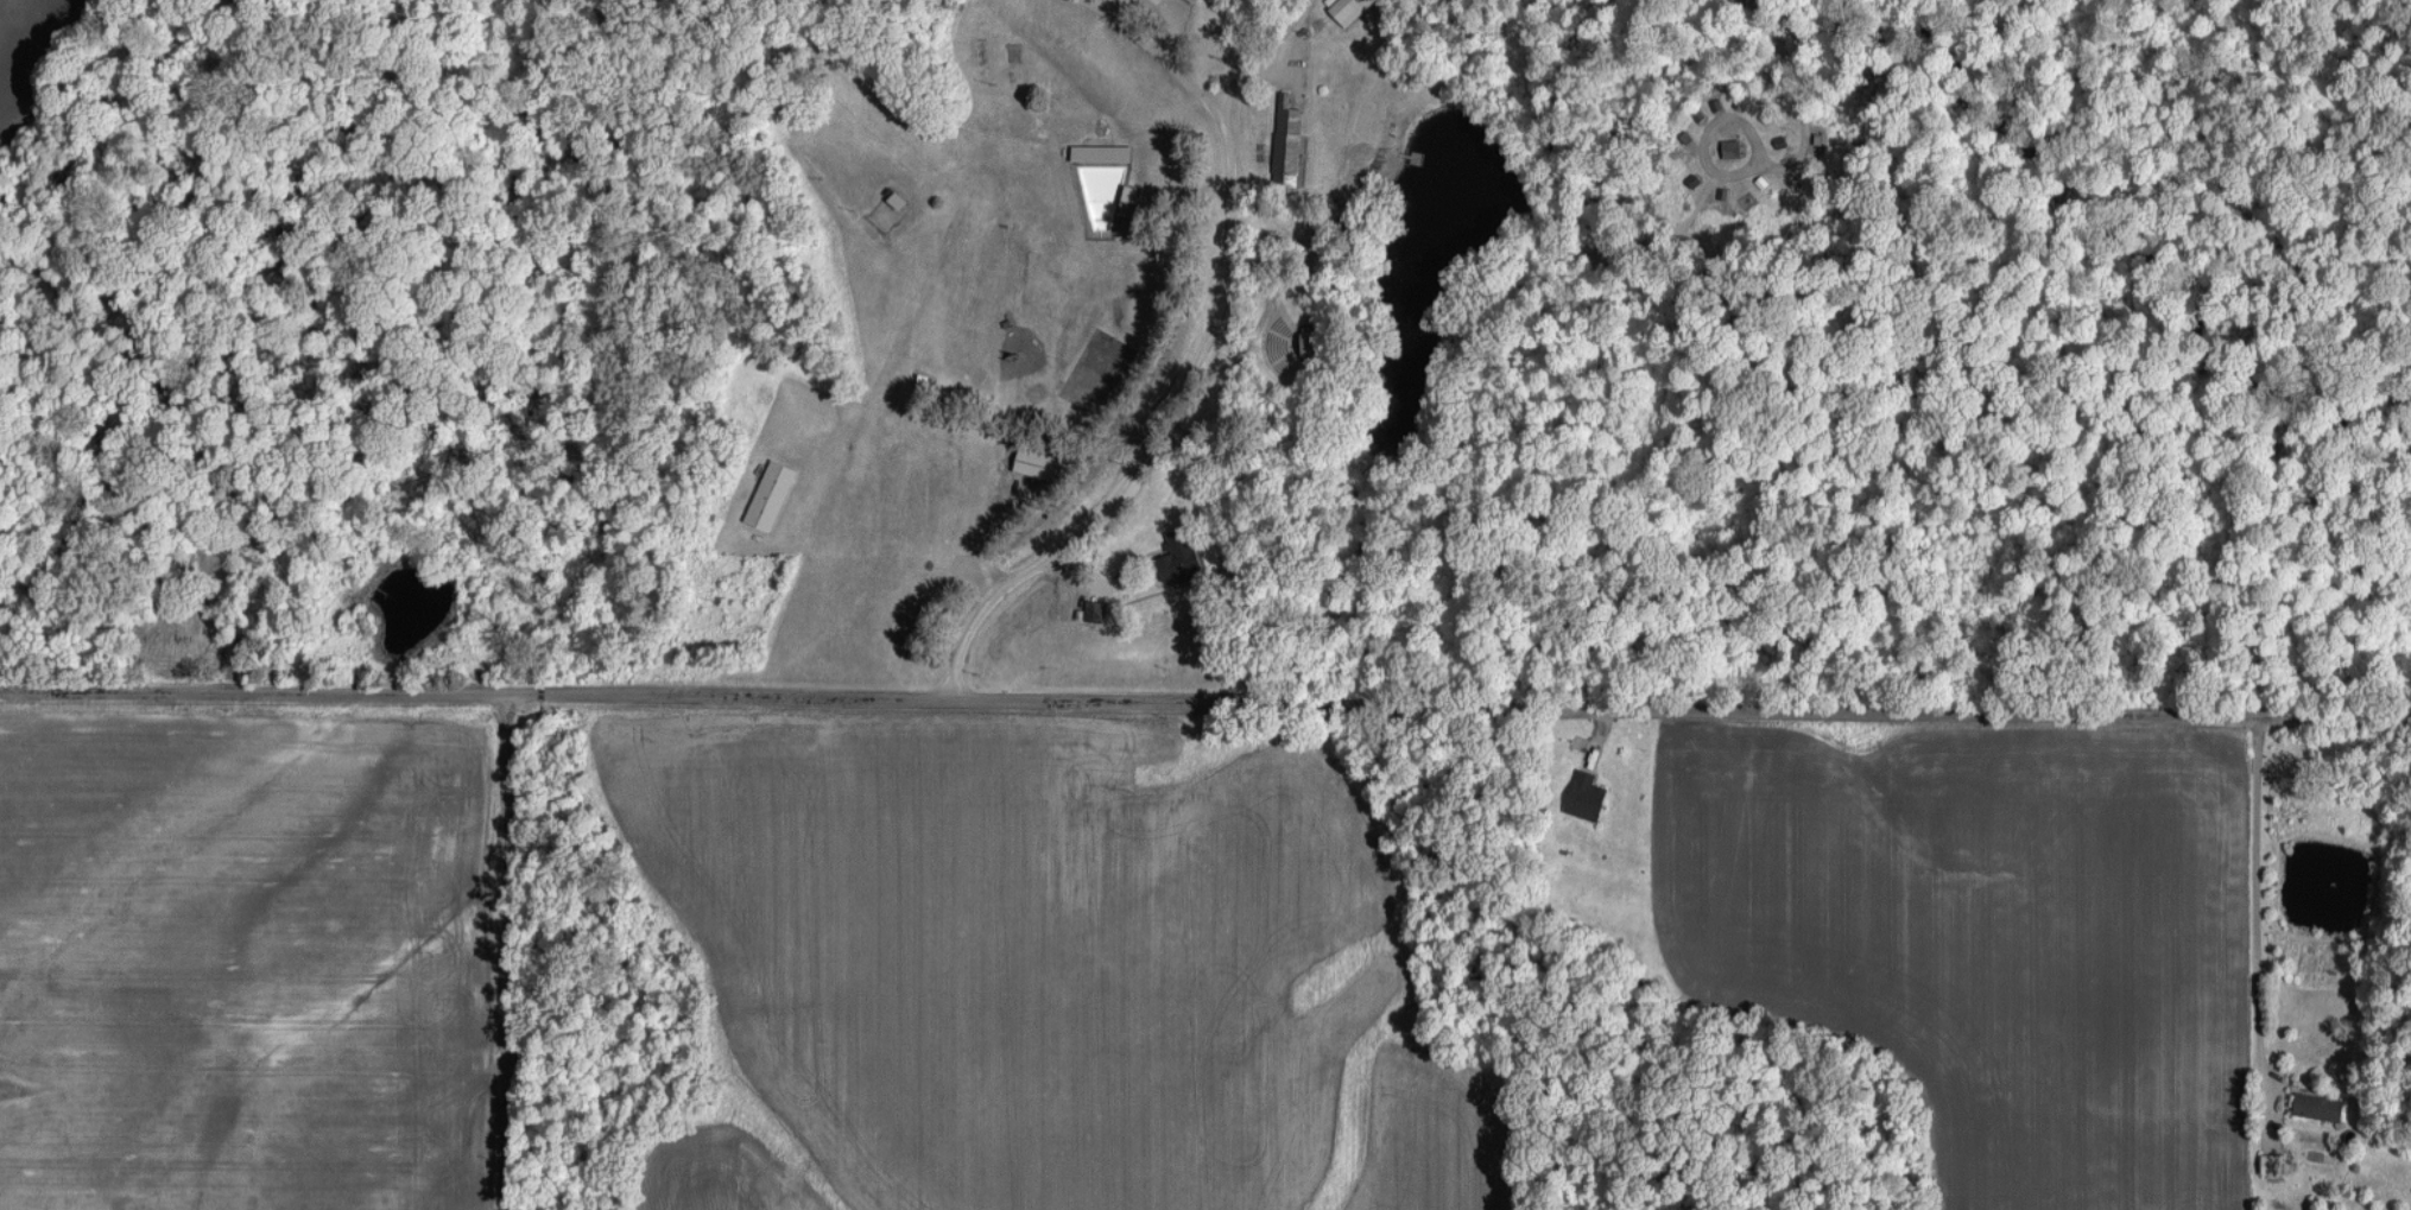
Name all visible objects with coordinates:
building: (1195, 0)
road: (1100, 1)
road: (1106, 1)
building: (1348, 9)
building: (1287, 141)
building: (1730, 147)
building: (1101, 152)
building: (1107, 191)
road: (1185, 354)
building: (1034, 462)
building: (771, 493)
building: (1177, 553)
road: (1204, 693)
building: (1587, 794)
road: (2260, 882)
road: (507, 948)
building: (2318, 1106)
building: (2271, 1163)

